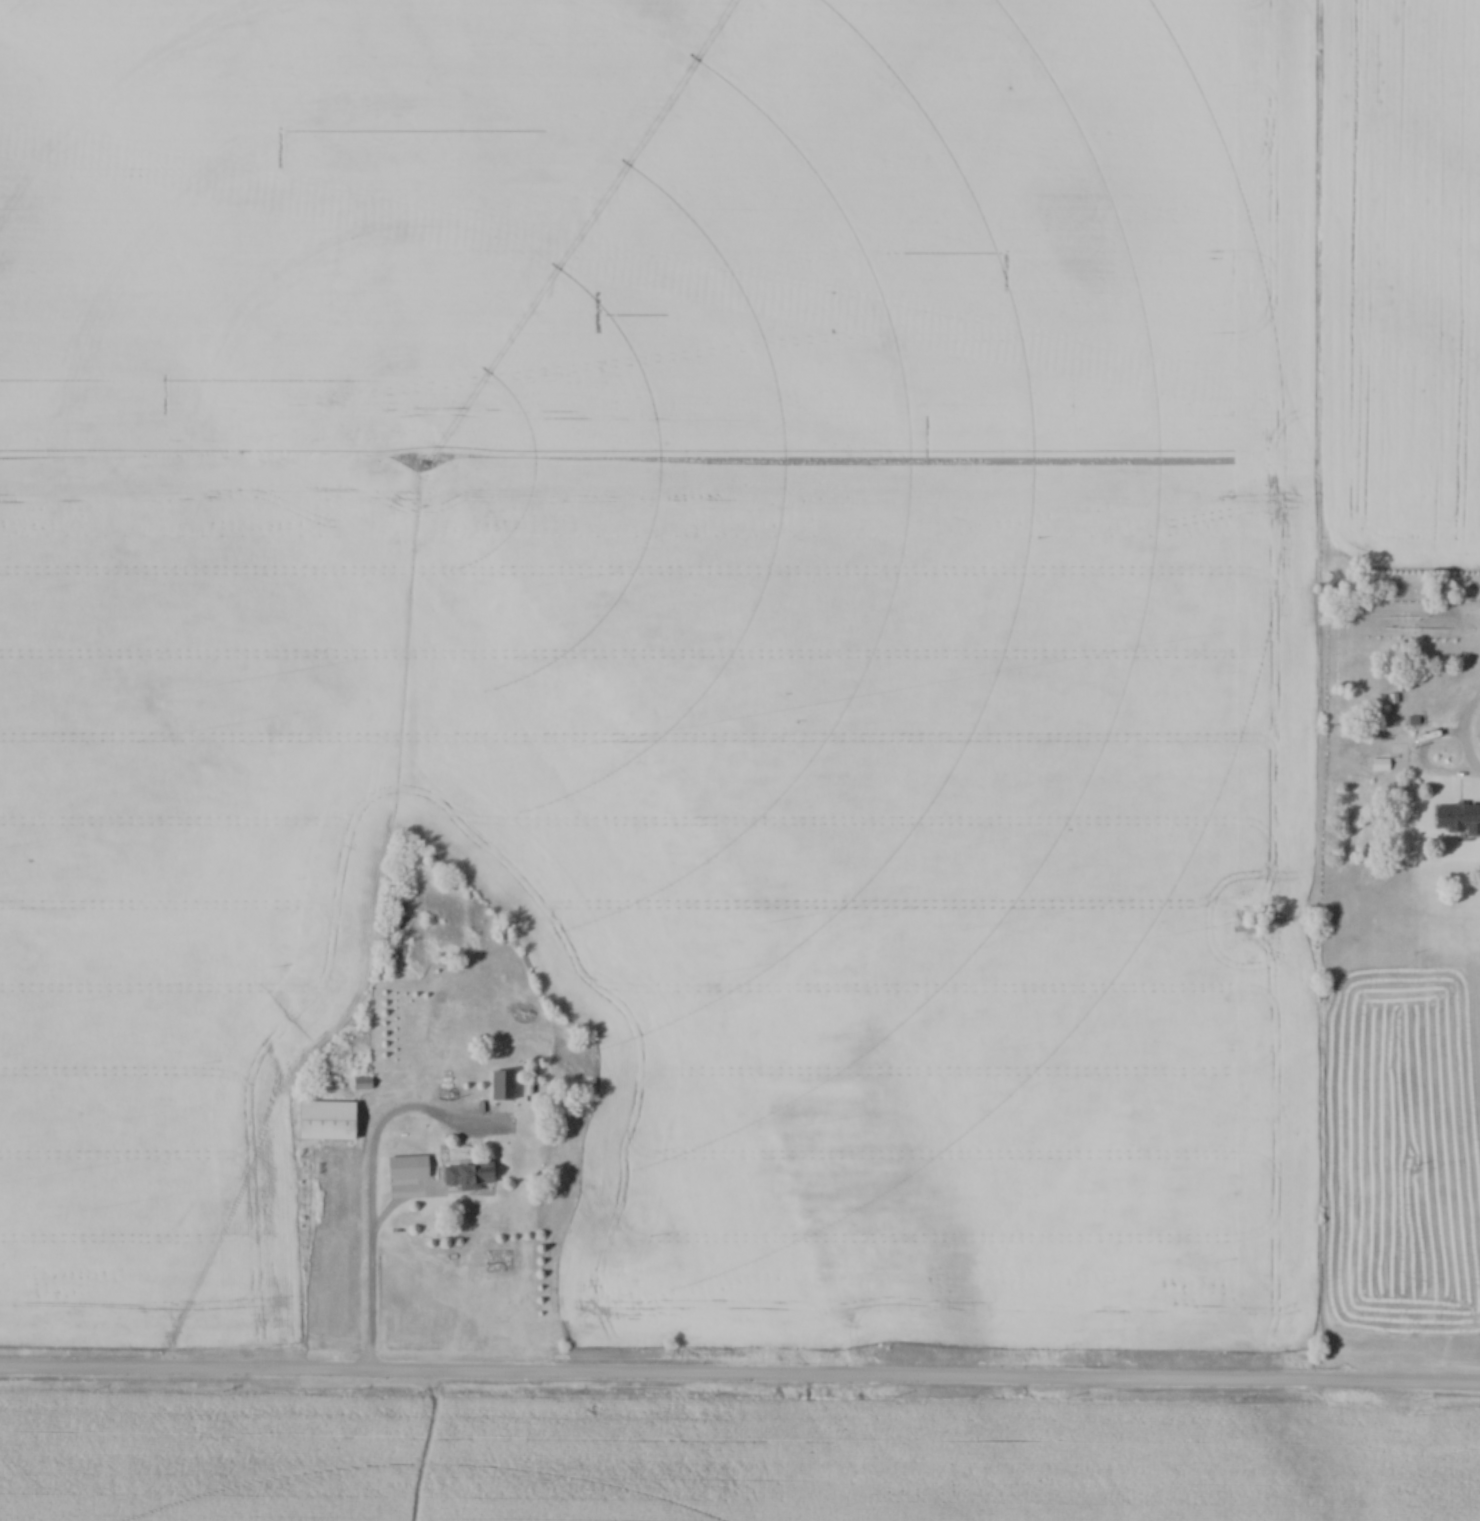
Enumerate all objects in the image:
building: (1381, 763)
building: (1457, 816)
building: (504, 1083)
building: (332, 1119)
building: (436, 1128)
building: (405, 1166)
building: (479, 1175)
road: (370, 1255)
road: (739, 1381)

